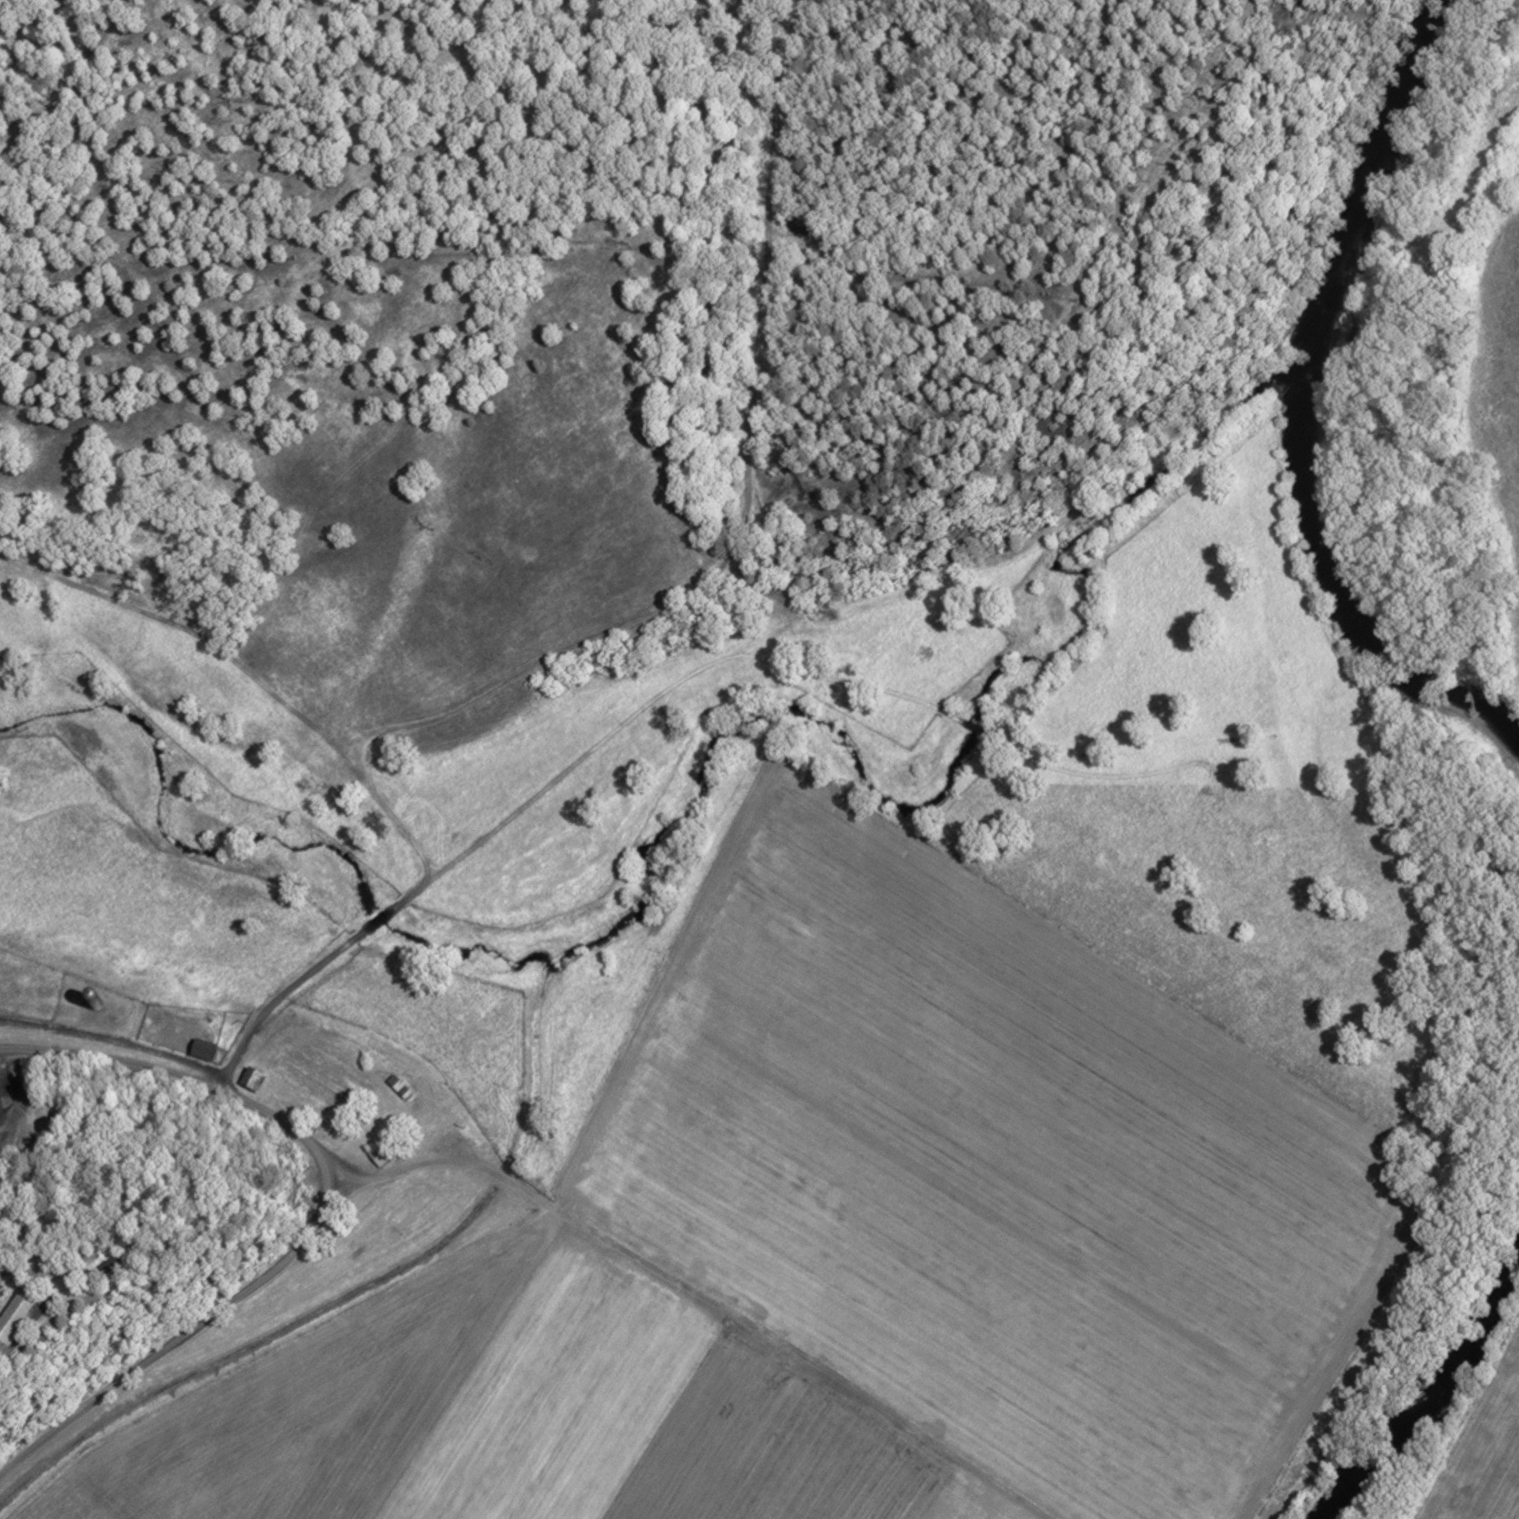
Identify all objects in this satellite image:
river: (1314, 412)
building: (202, 1049)
building: (251, 1077)
building: (398, 1085)
building: (385, 1119)
building: (108, 1262)
building: (14, 1312)
river: (1435, 1399)

